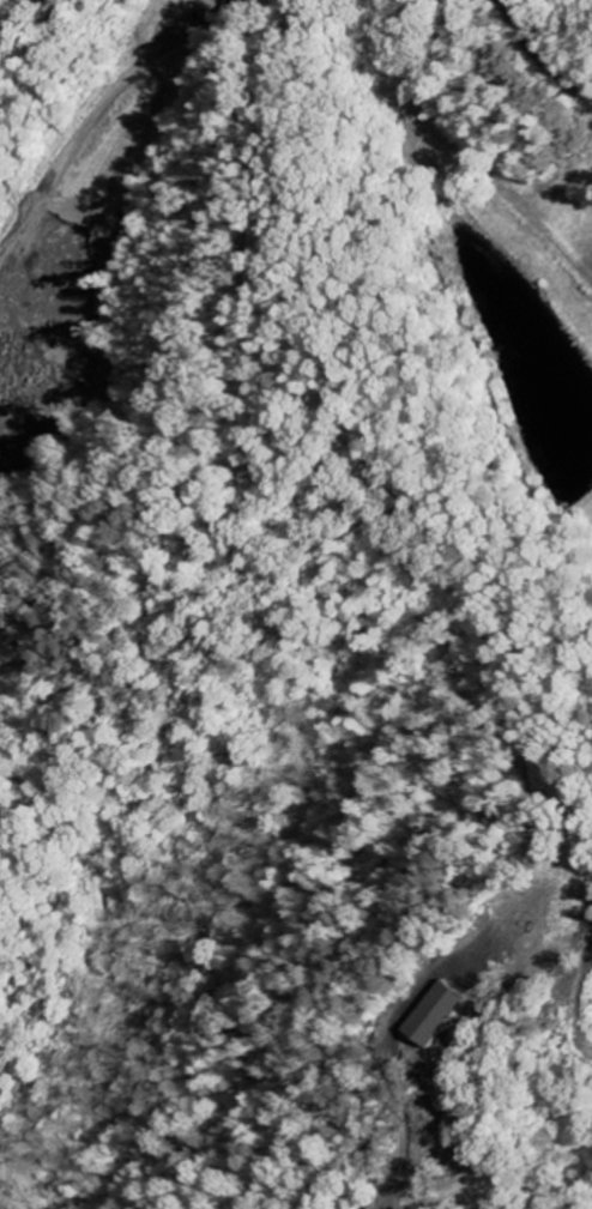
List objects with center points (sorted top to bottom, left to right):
road: (503, 200)
building: (460, 1015)

